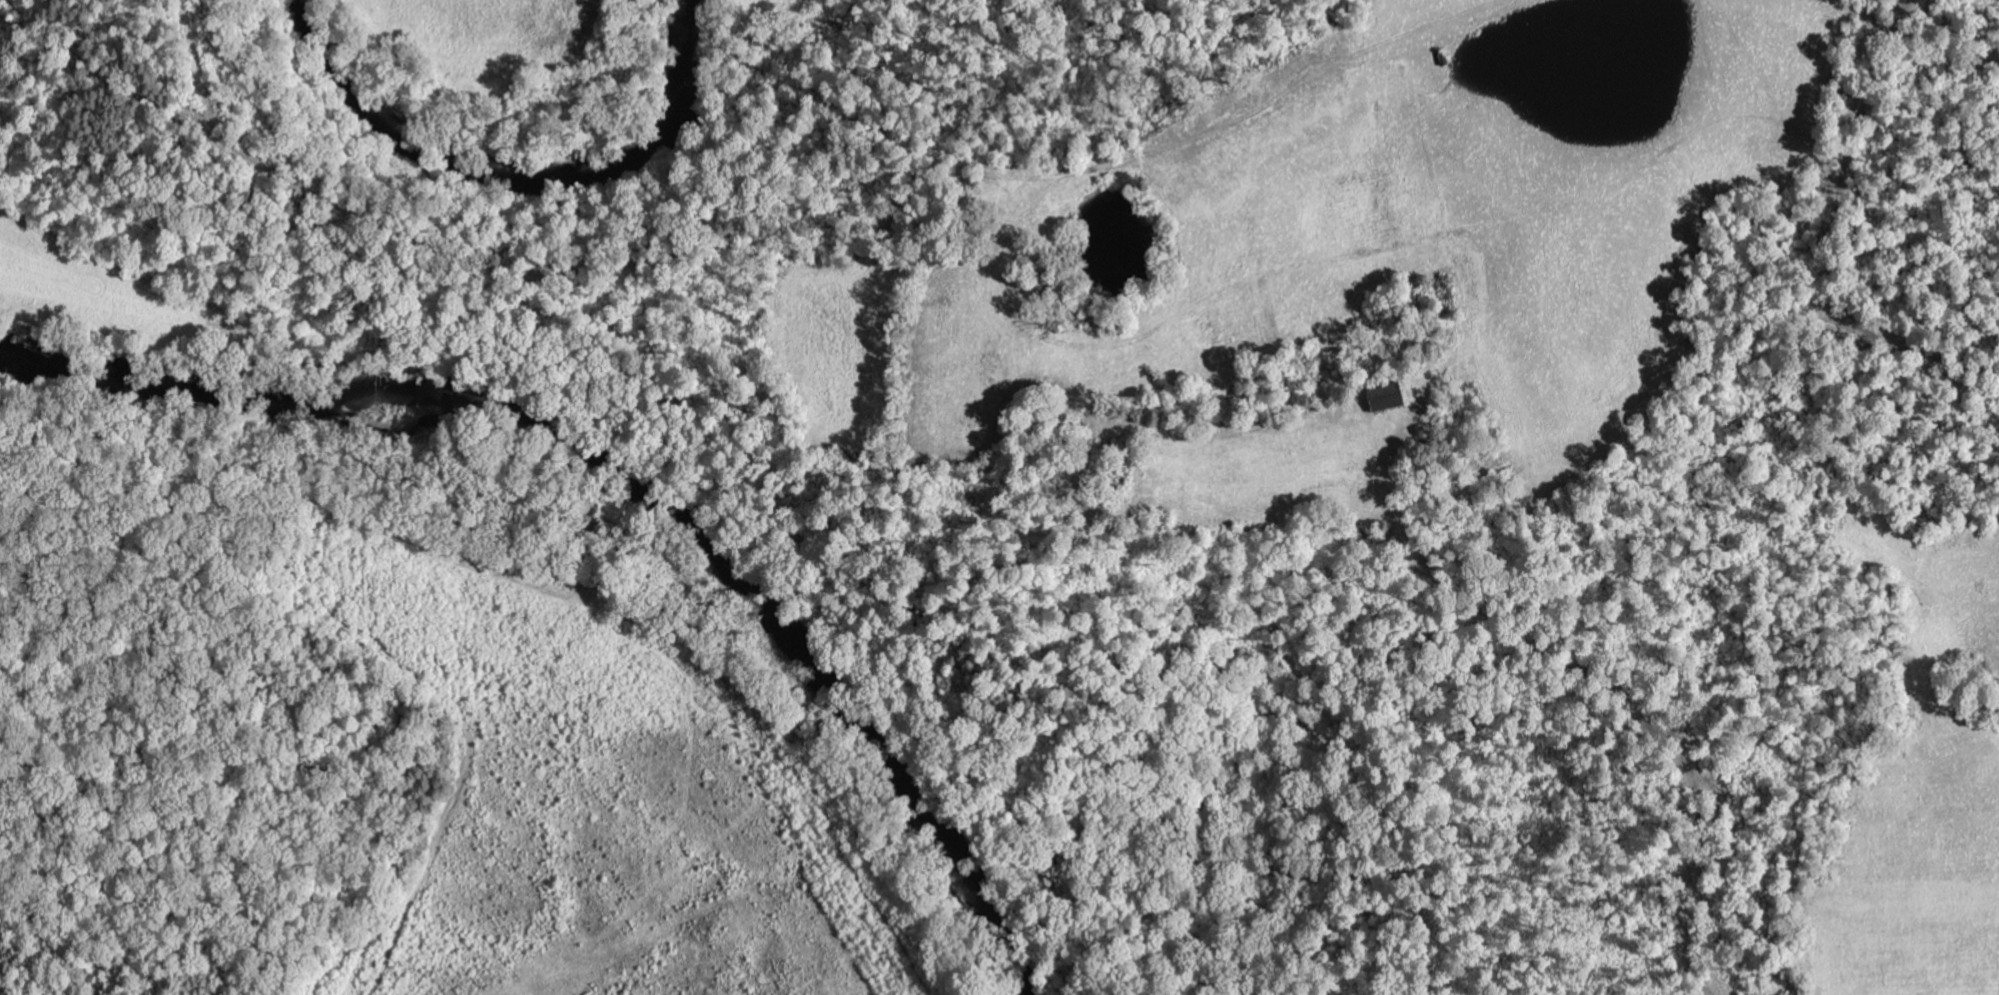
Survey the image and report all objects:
road: (997, 178)
road: (1778, 294)
building: (1381, 401)
road: (167, 966)

